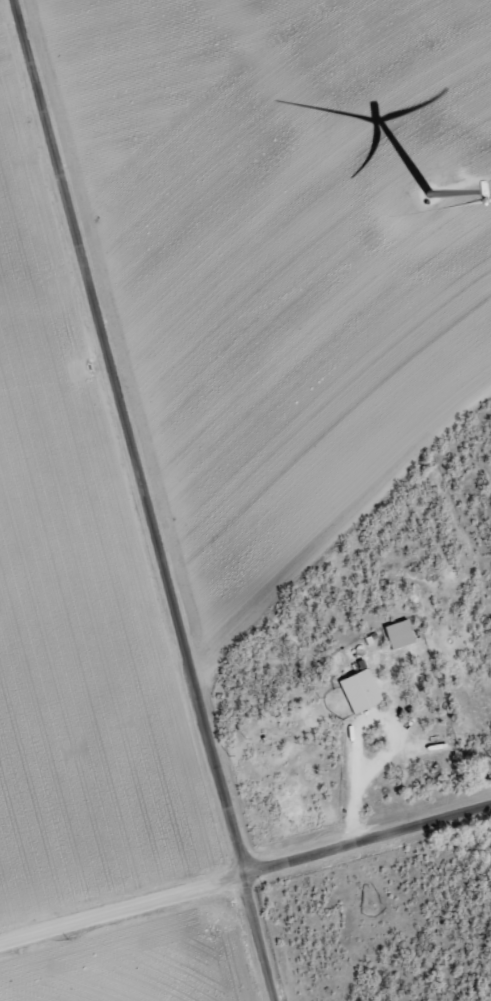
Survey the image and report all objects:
wind turbine: (429, 194)
road: (128, 517)
building: (356, 693)
road: (245, 872)

